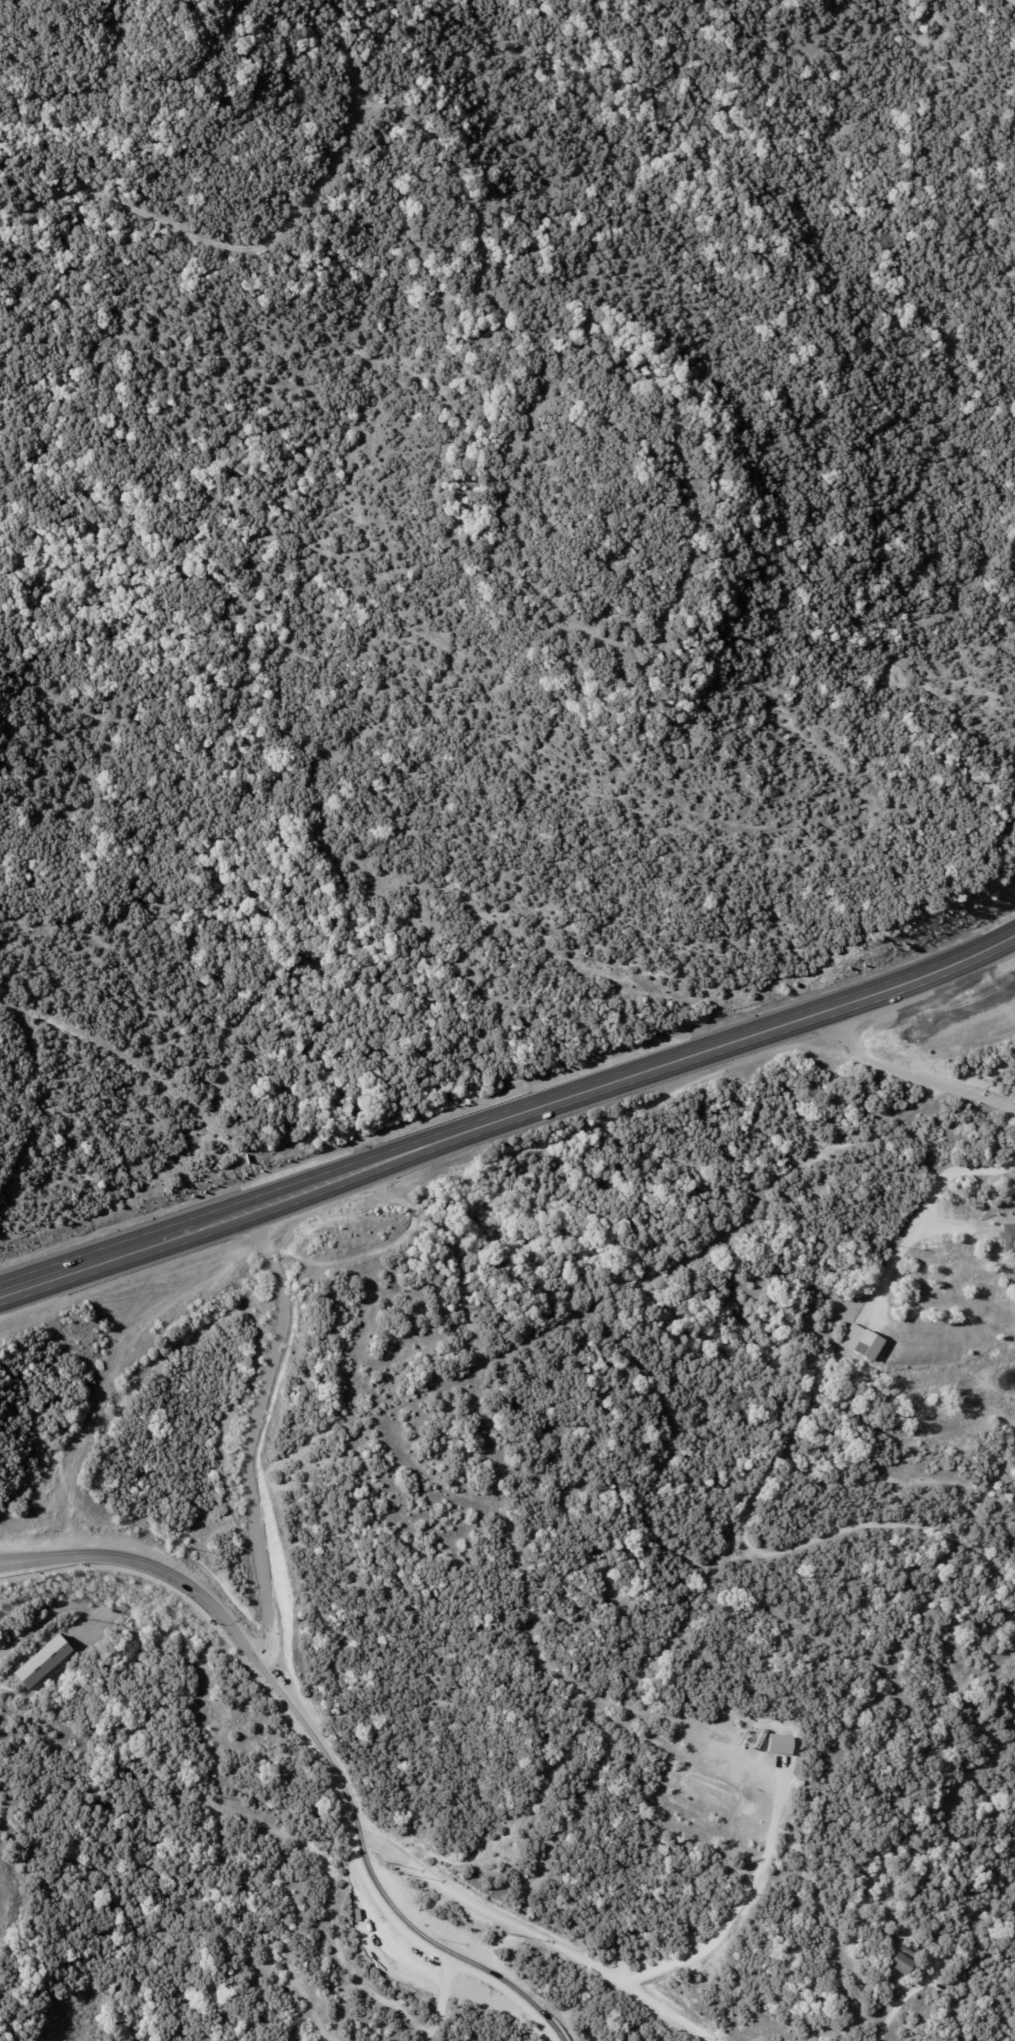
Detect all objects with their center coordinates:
road: (905, 1063)
road: (510, 1116)
road: (942, 1171)
building: (1009, 1236)
building: (868, 1346)
road: (249, 1432)
road: (48, 1617)
building: (47, 1663)
road: (314, 1744)
road: (738, 1908)
building: (943, 1931)
road: (537, 1936)
building: (900, 1963)
road: (912, 1999)

